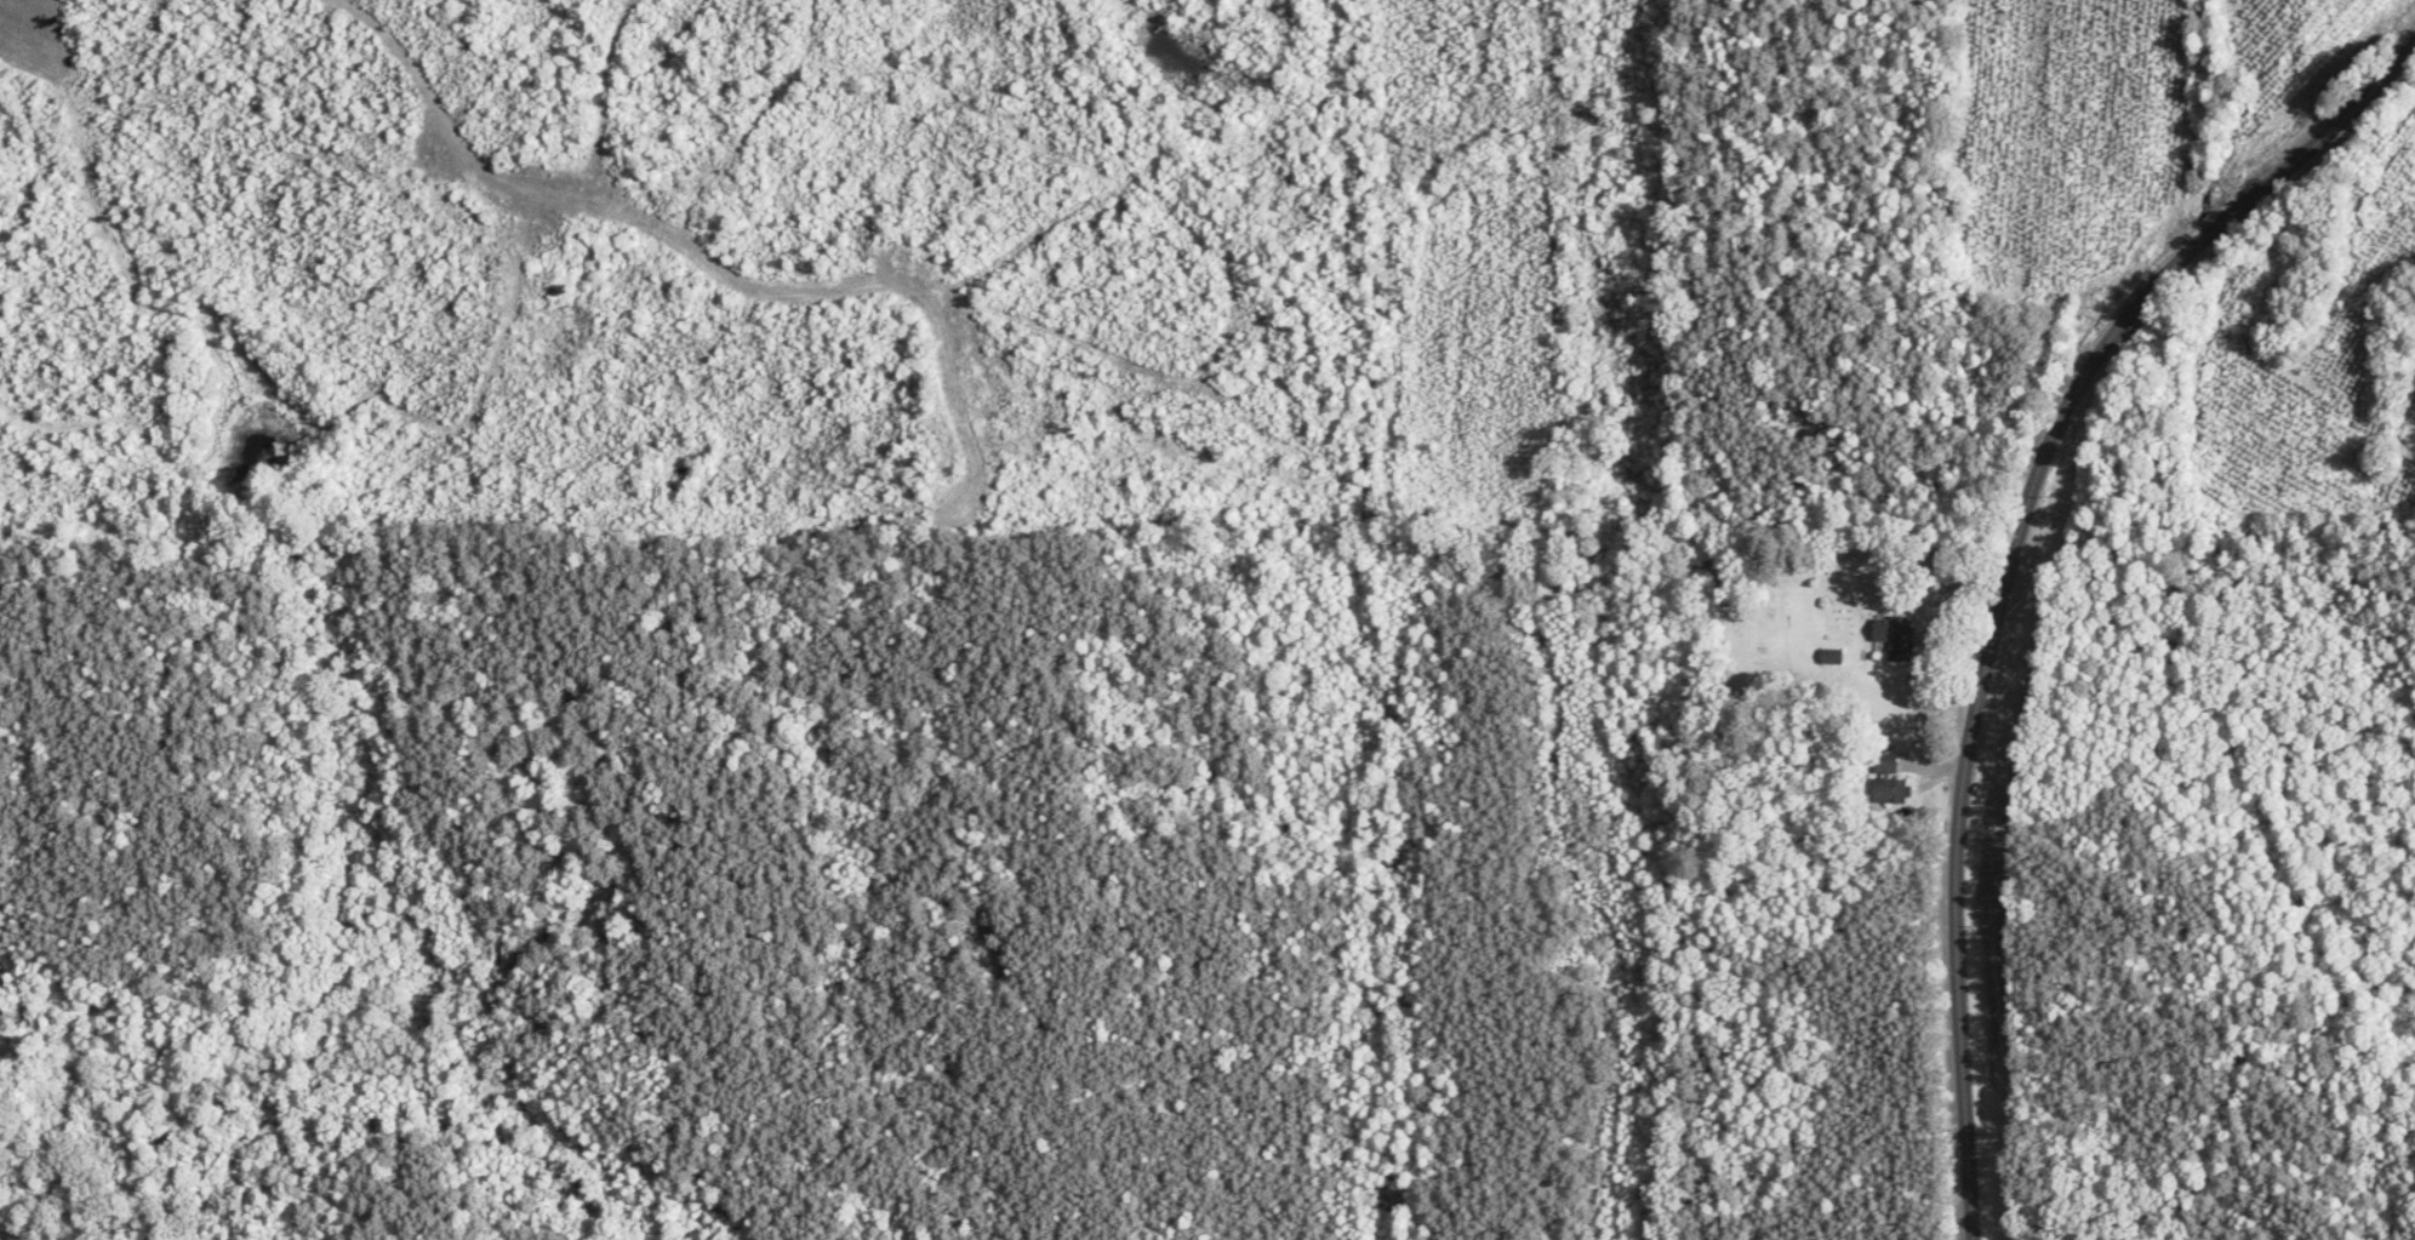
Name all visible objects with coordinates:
road: (2028, 577)
building: (1892, 638)
building: (1886, 782)

